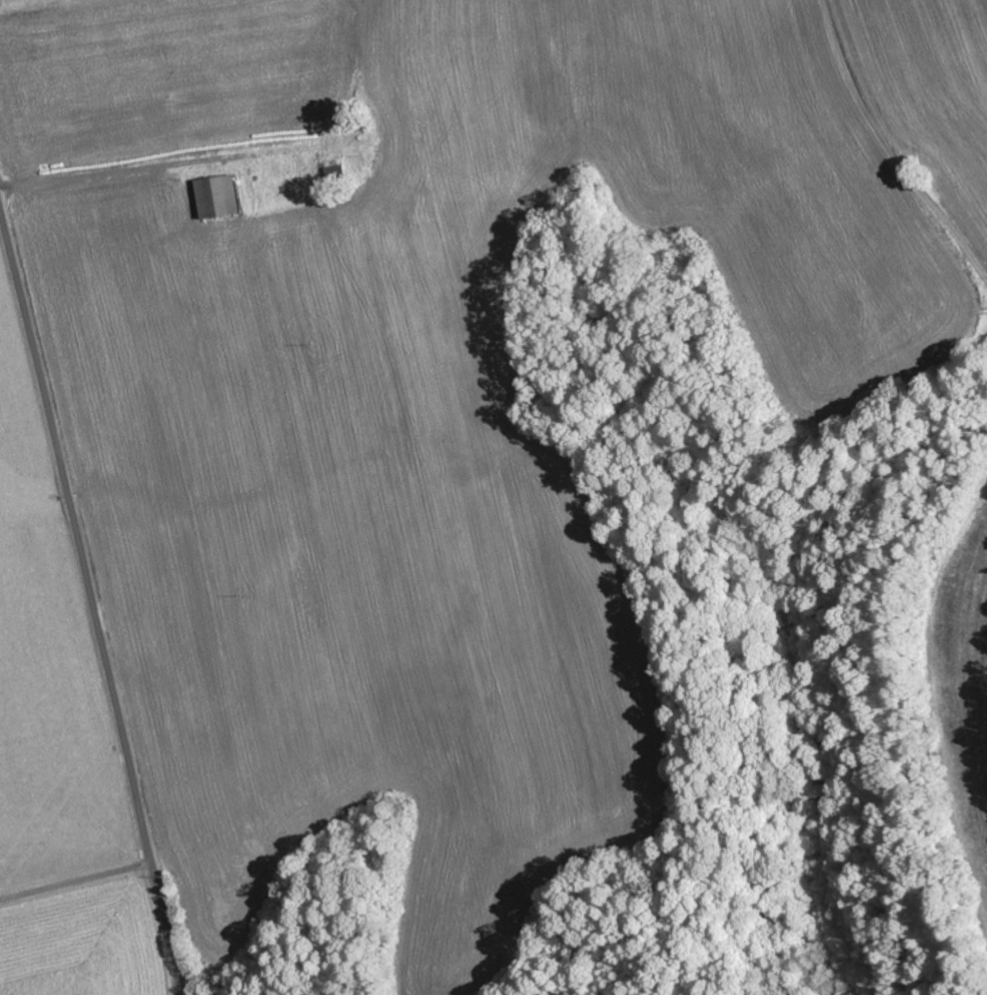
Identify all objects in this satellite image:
road: (234, 152)
road: (886, 161)
building: (218, 197)
road: (91, 604)

